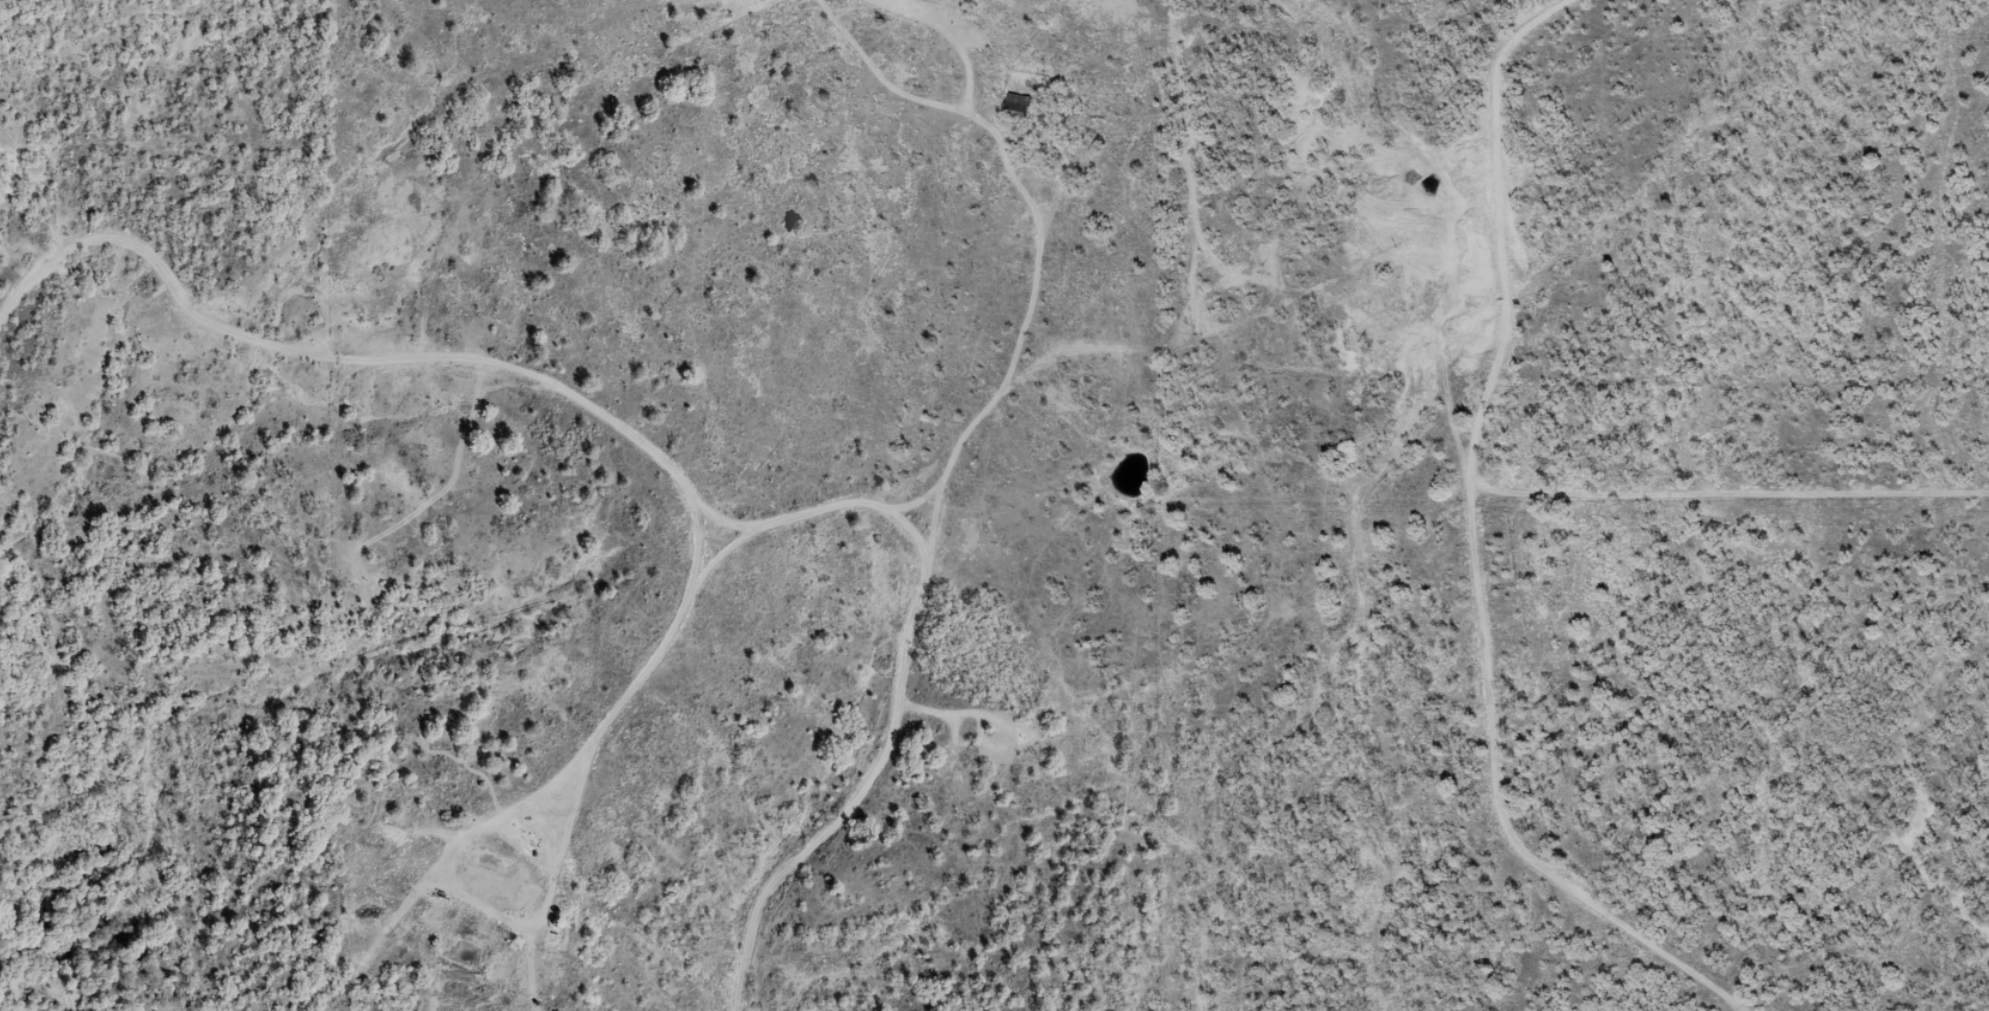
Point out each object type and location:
road: (959, 478)
road: (925, 561)
road: (611, 713)
road: (879, 785)
road: (1719, 844)
road: (1374, 916)

